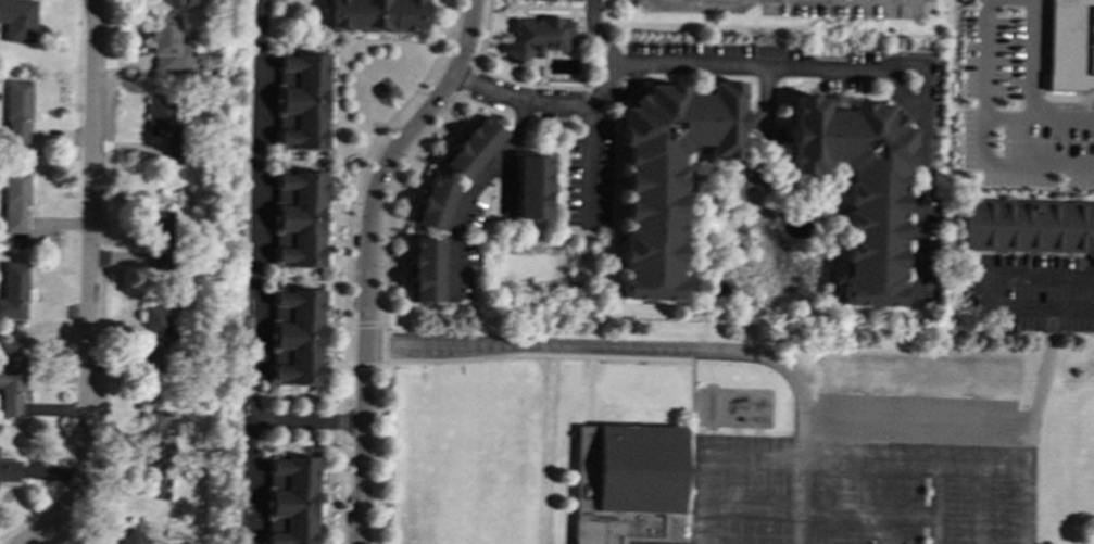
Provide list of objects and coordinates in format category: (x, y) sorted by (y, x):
building: (566, 0)
road: (666, 2)
road: (688, 2)
road: (717, 4)
parking lot: (662, 5)
parking lot: (851, 9)
building: (376, 15)
building: (17, 20)
building: (538, 35)
road: (483, 36)
building: (1070, 45)
building: (167, 46)
road: (984, 59)
road: (841, 68)
road: (922, 72)
road: (467, 80)
road: (551, 87)
road: (1032, 91)
road: (1062, 96)
road: (550, 99)
building: (302, 100)
parking lot: (1017, 110)
building: (17, 112)
building: (163, 124)
building: (471, 147)
road: (365, 150)
road: (993, 162)
road: (588, 164)
building: (666, 176)
building: (533, 187)
building: (859, 188)
road: (470, 189)
road: (388, 198)
building: (15, 202)
building: (432, 203)
building: (299, 217)
building: (1030, 226)
building: (159, 227)
road: (363, 258)
building: (424, 269)
road: (251, 271)
road: (87, 281)
building: (13, 291)
parking lot: (1028, 291)
road: (1047, 308)
road: (366, 324)
road: (380, 324)
building: (295, 336)
building: (154, 339)
road: (342, 339)
road: (383, 344)
road: (735, 354)
road: (486, 356)
road: (646, 357)
road: (368, 365)
road: (341, 383)
building: (11, 385)
road: (972, 420)
road: (340, 421)
road: (303, 423)
building: (153, 440)
road: (379, 451)
road: (707, 455)
building: (9, 470)
building: (628, 484)
road: (338, 488)
parking lot: (851, 490)
building: (291, 499)
road: (1024, 506)
building: (131, 537)

